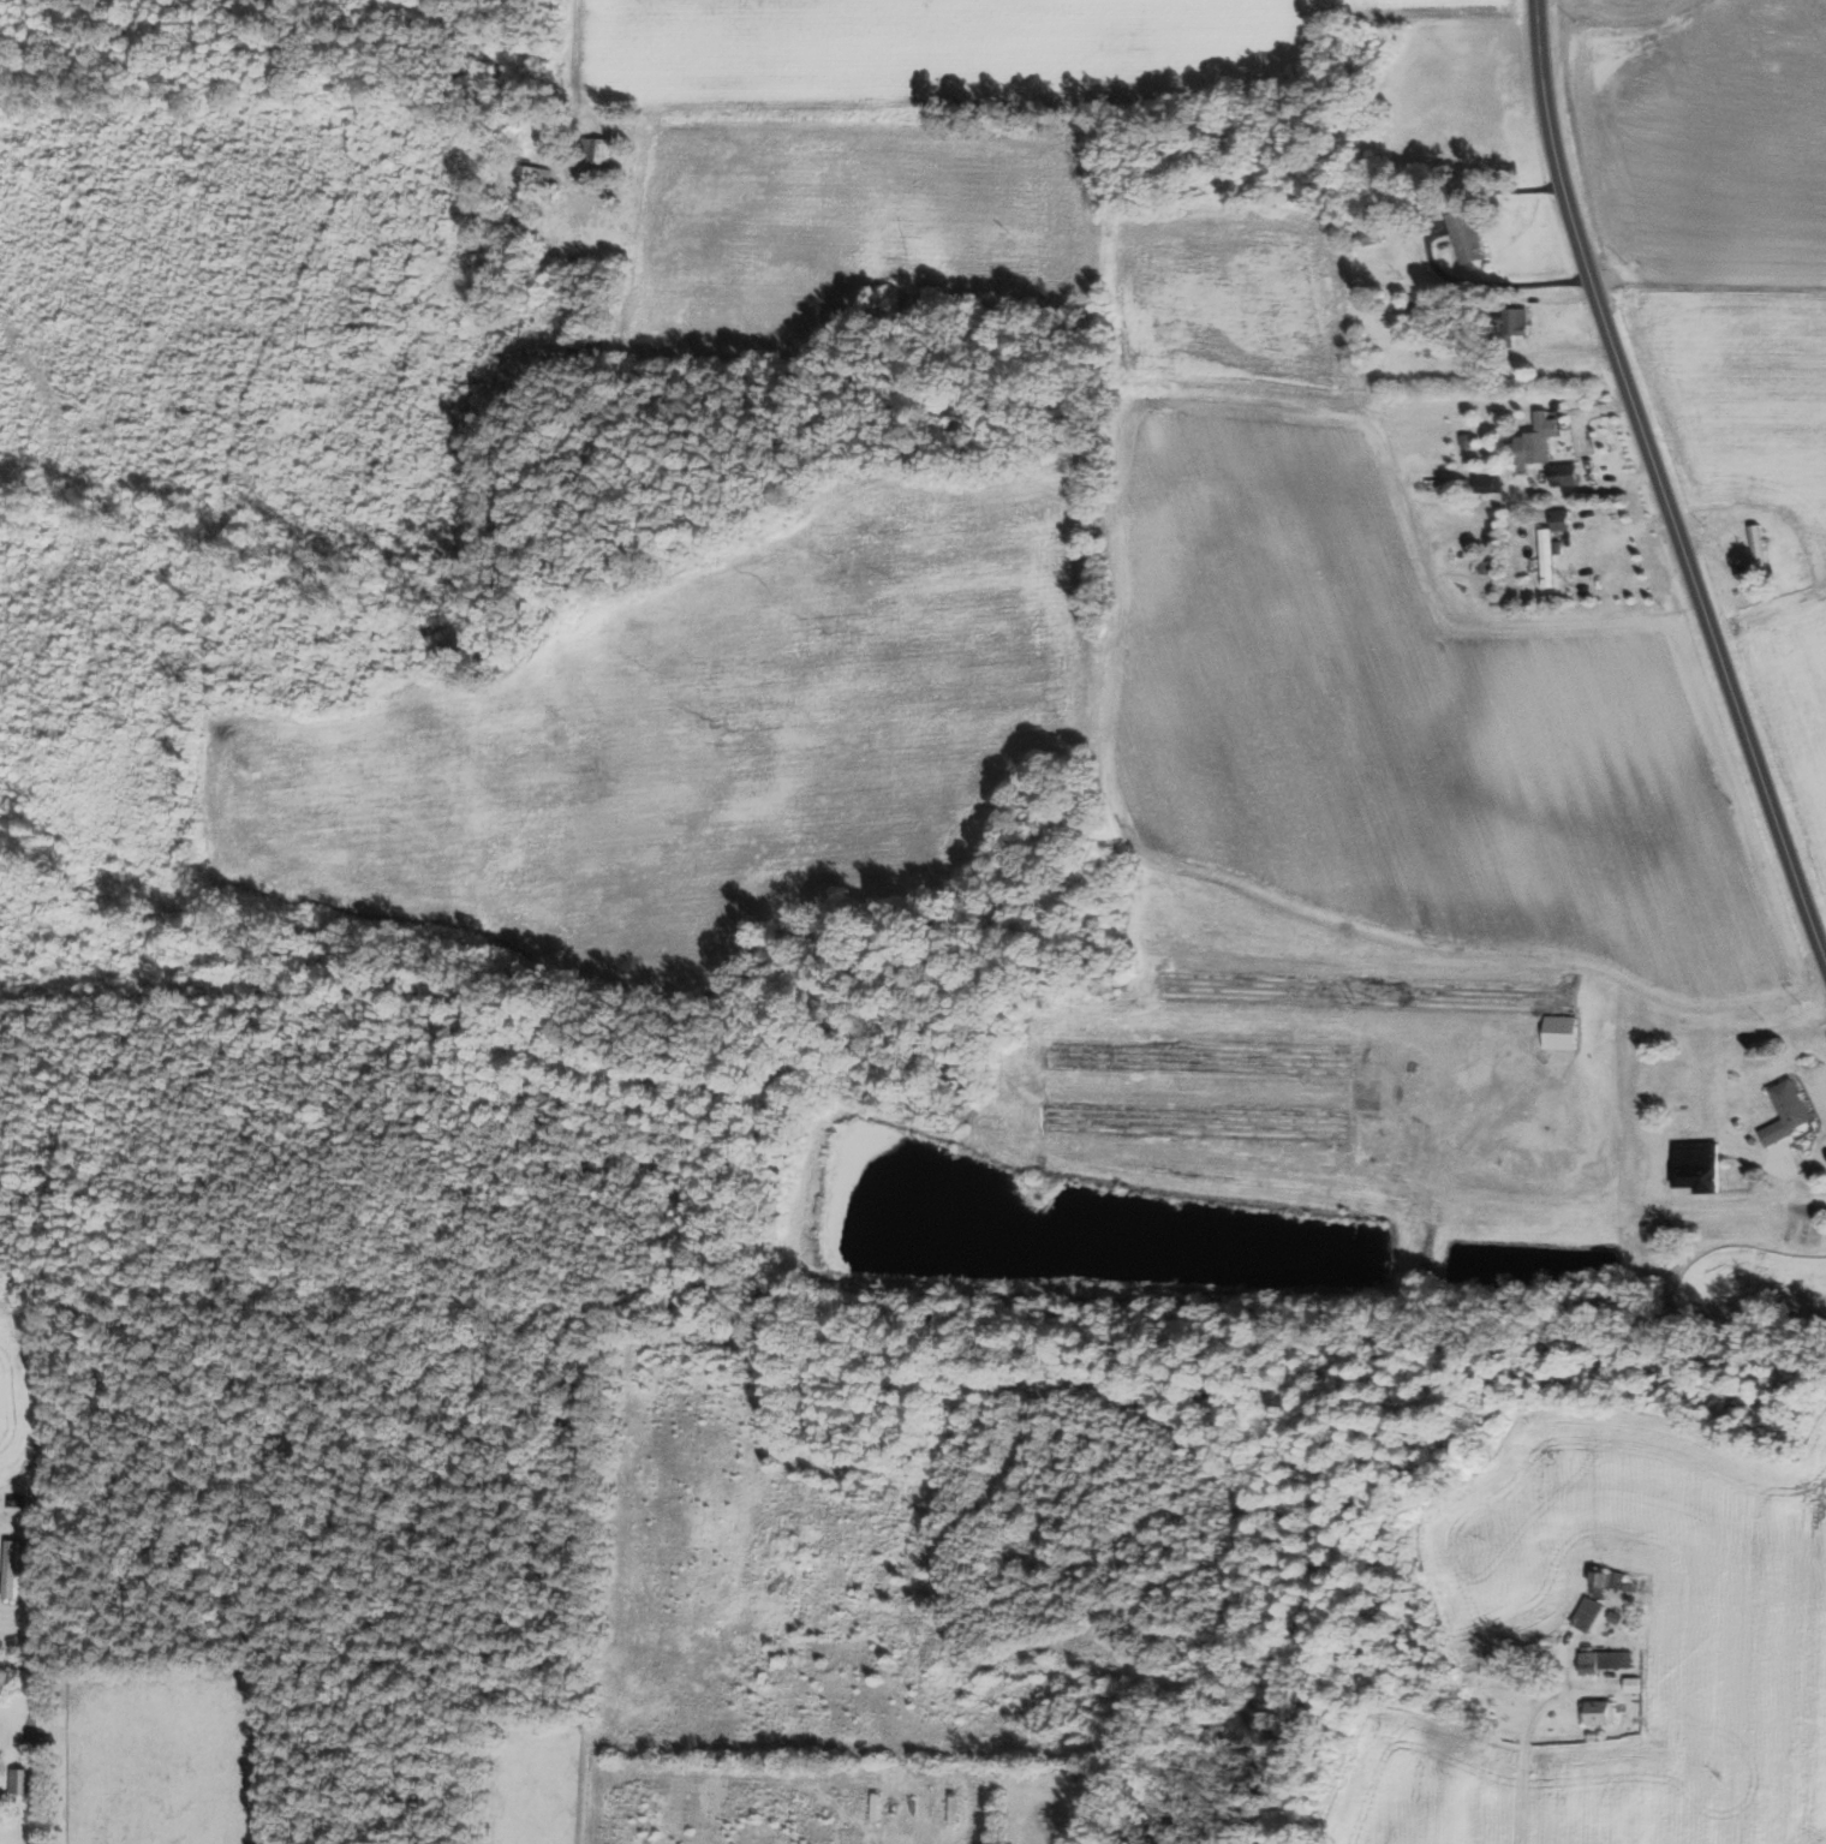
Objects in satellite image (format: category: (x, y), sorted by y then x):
building: (599, 149)
building: (536, 178)
building: (1468, 234)
road: (1494, 282)
building: (1542, 437)
building: (1568, 475)
road: (1659, 488)
building: (1563, 519)
building: (1550, 556)
building: (1562, 1032)
building: (1789, 1111)
building: (1699, 1165)
building: (13, 1569)
building: (1598, 1579)
building: (1613, 1579)
building: (1630, 1586)
building: (1586, 1613)
crop: (1657, 1616)
building: (1612, 1617)
building: (1601, 1660)
road: (172, 1675)
building: (1631, 1684)
building: (1597, 1712)
road: (1526, 1753)
building: (24, 1779)
crop: (1430, 1784)
road: (595, 1803)

